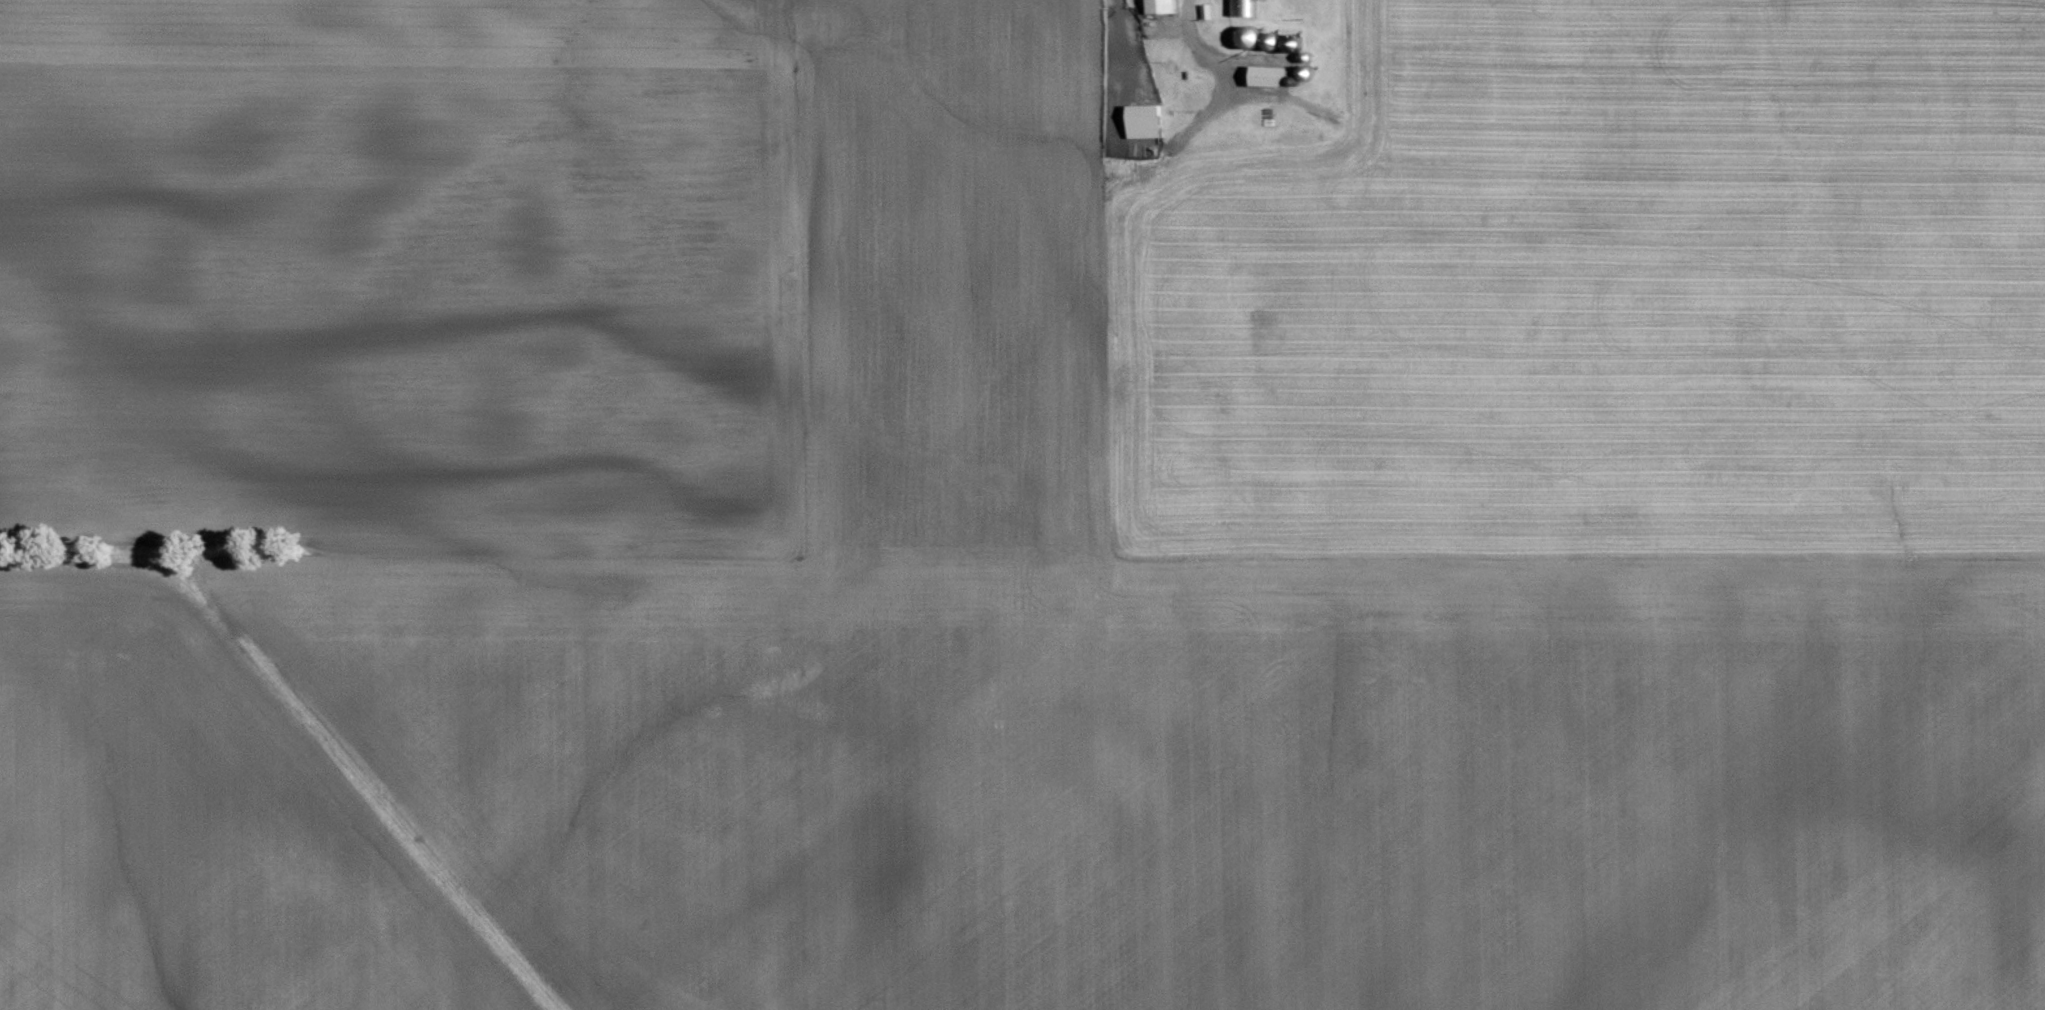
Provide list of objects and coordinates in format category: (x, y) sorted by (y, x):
building: (1159, 7)
road: (1218, 70)
building: (1144, 123)

